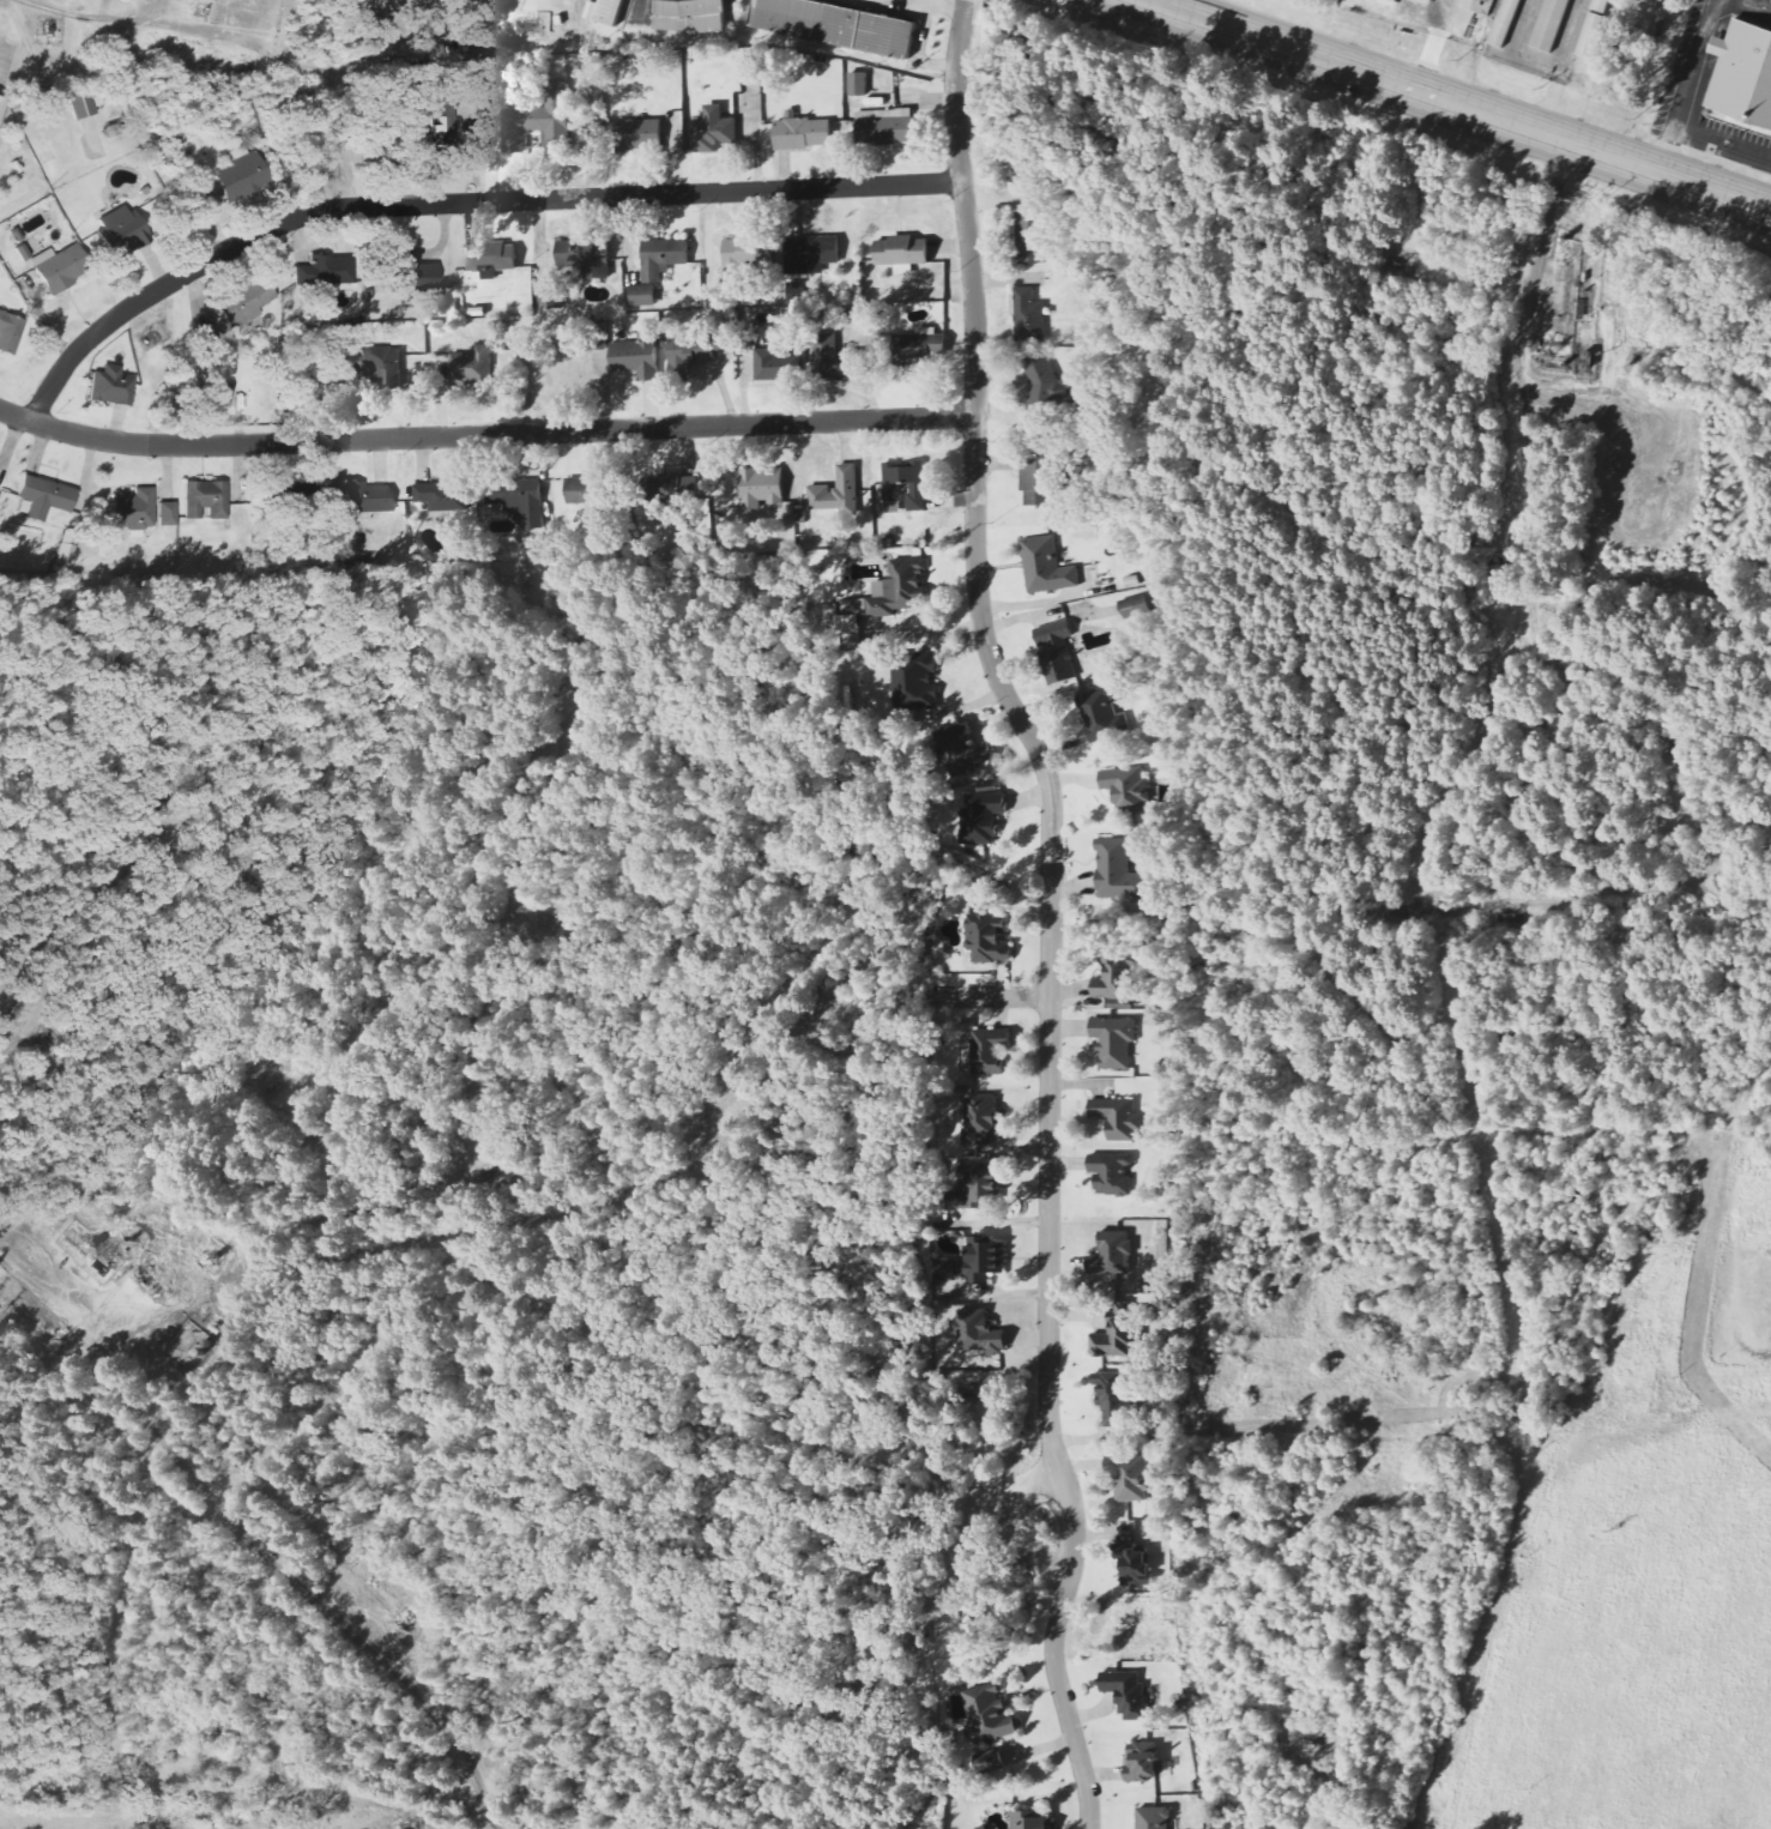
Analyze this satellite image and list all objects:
building: (1425, 1)
building: (1483, 4)
road: (560, 5)
building: (1598, 5)
road: (942, 6)
road: (1749, 7)
parking lot: (1754, 8)
building: (609, 12)
road: (69, 16)
building: (689, 16)
building: (1504, 22)
building: (1549, 24)
building: (834, 25)
building: (1590, 34)
road: (1568, 36)
parking lot: (1696, 53)
road: (1539, 66)
building: (1743, 72)
building: (858, 85)
road: (1690, 87)
building: (80, 104)
road: (1453, 105)
building: (433, 122)
building: (536, 127)
building: (884, 127)
building: (713, 132)
building: (637, 134)
building: (802, 134)
parking lot: (1712, 137)
road: (1723, 144)
building: (238, 177)
road: (457, 201)
building: (119, 230)
building: (1027, 237)
building: (901, 250)
building: (742, 252)
building: (810, 254)
building: (584, 255)
building: (490, 259)
road: (1537, 267)
building: (56, 271)
building: (324, 271)
building: (399, 272)
building: (651, 276)
building: (550, 297)
building: (244, 303)
building: (1026, 315)
building: (8, 332)
building: (600, 337)
building: (918, 346)
building: (636, 356)
building: (687, 356)
building: (835, 361)
building: (380, 366)
building: (772, 366)
building: (470, 369)
building: (110, 387)
building: (1042, 387)
building: (216, 396)
road: (1591, 415)
road: (484, 435)
building: (903, 478)
building: (1035, 481)
building: (678, 488)
building: (764, 489)
building: (582, 490)
building: (838, 490)
building: (513, 493)
building: (289, 494)
building: (441, 495)
building: (43, 496)
building: (365, 496)
building: (204, 500)
road: (1533, 502)
building: (133, 508)
building: (165, 514)
building: (66, 557)
building: (1050, 567)
building: (889, 593)
building: (1130, 606)
building: (1056, 651)
building: (913, 680)
building: (1101, 713)
road: (1622, 738)
building: (962, 750)
building: (1125, 789)
building: (980, 816)
building: (1114, 871)
road: (1450, 906)
road: (1050, 911)
building: (987, 940)
road: (83, 949)
building: (1116, 979)
road: (991, 997)
building: (1112, 1042)
building: (989, 1050)
building: (1116, 1117)
building: (981, 1119)
building: (1110, 1173)
building: (975, 1187)
road: (430, 1202)
building: (1112, 1254)
building: (973, 1262)
building: (977, 1332)
building: (1119, 1333)
building: (1113, 1399)
building: (1129, 1478)
road: (1521, 1534)
road: (250, 1538)
building: (1134, 1564)
building: (1125, 1691)
building: (987, 1713)
building: (989, 1761)
building: (1143, 1761)
road: (405, 1806)
building: (1153, 1818)
building: (1029, 1819)

